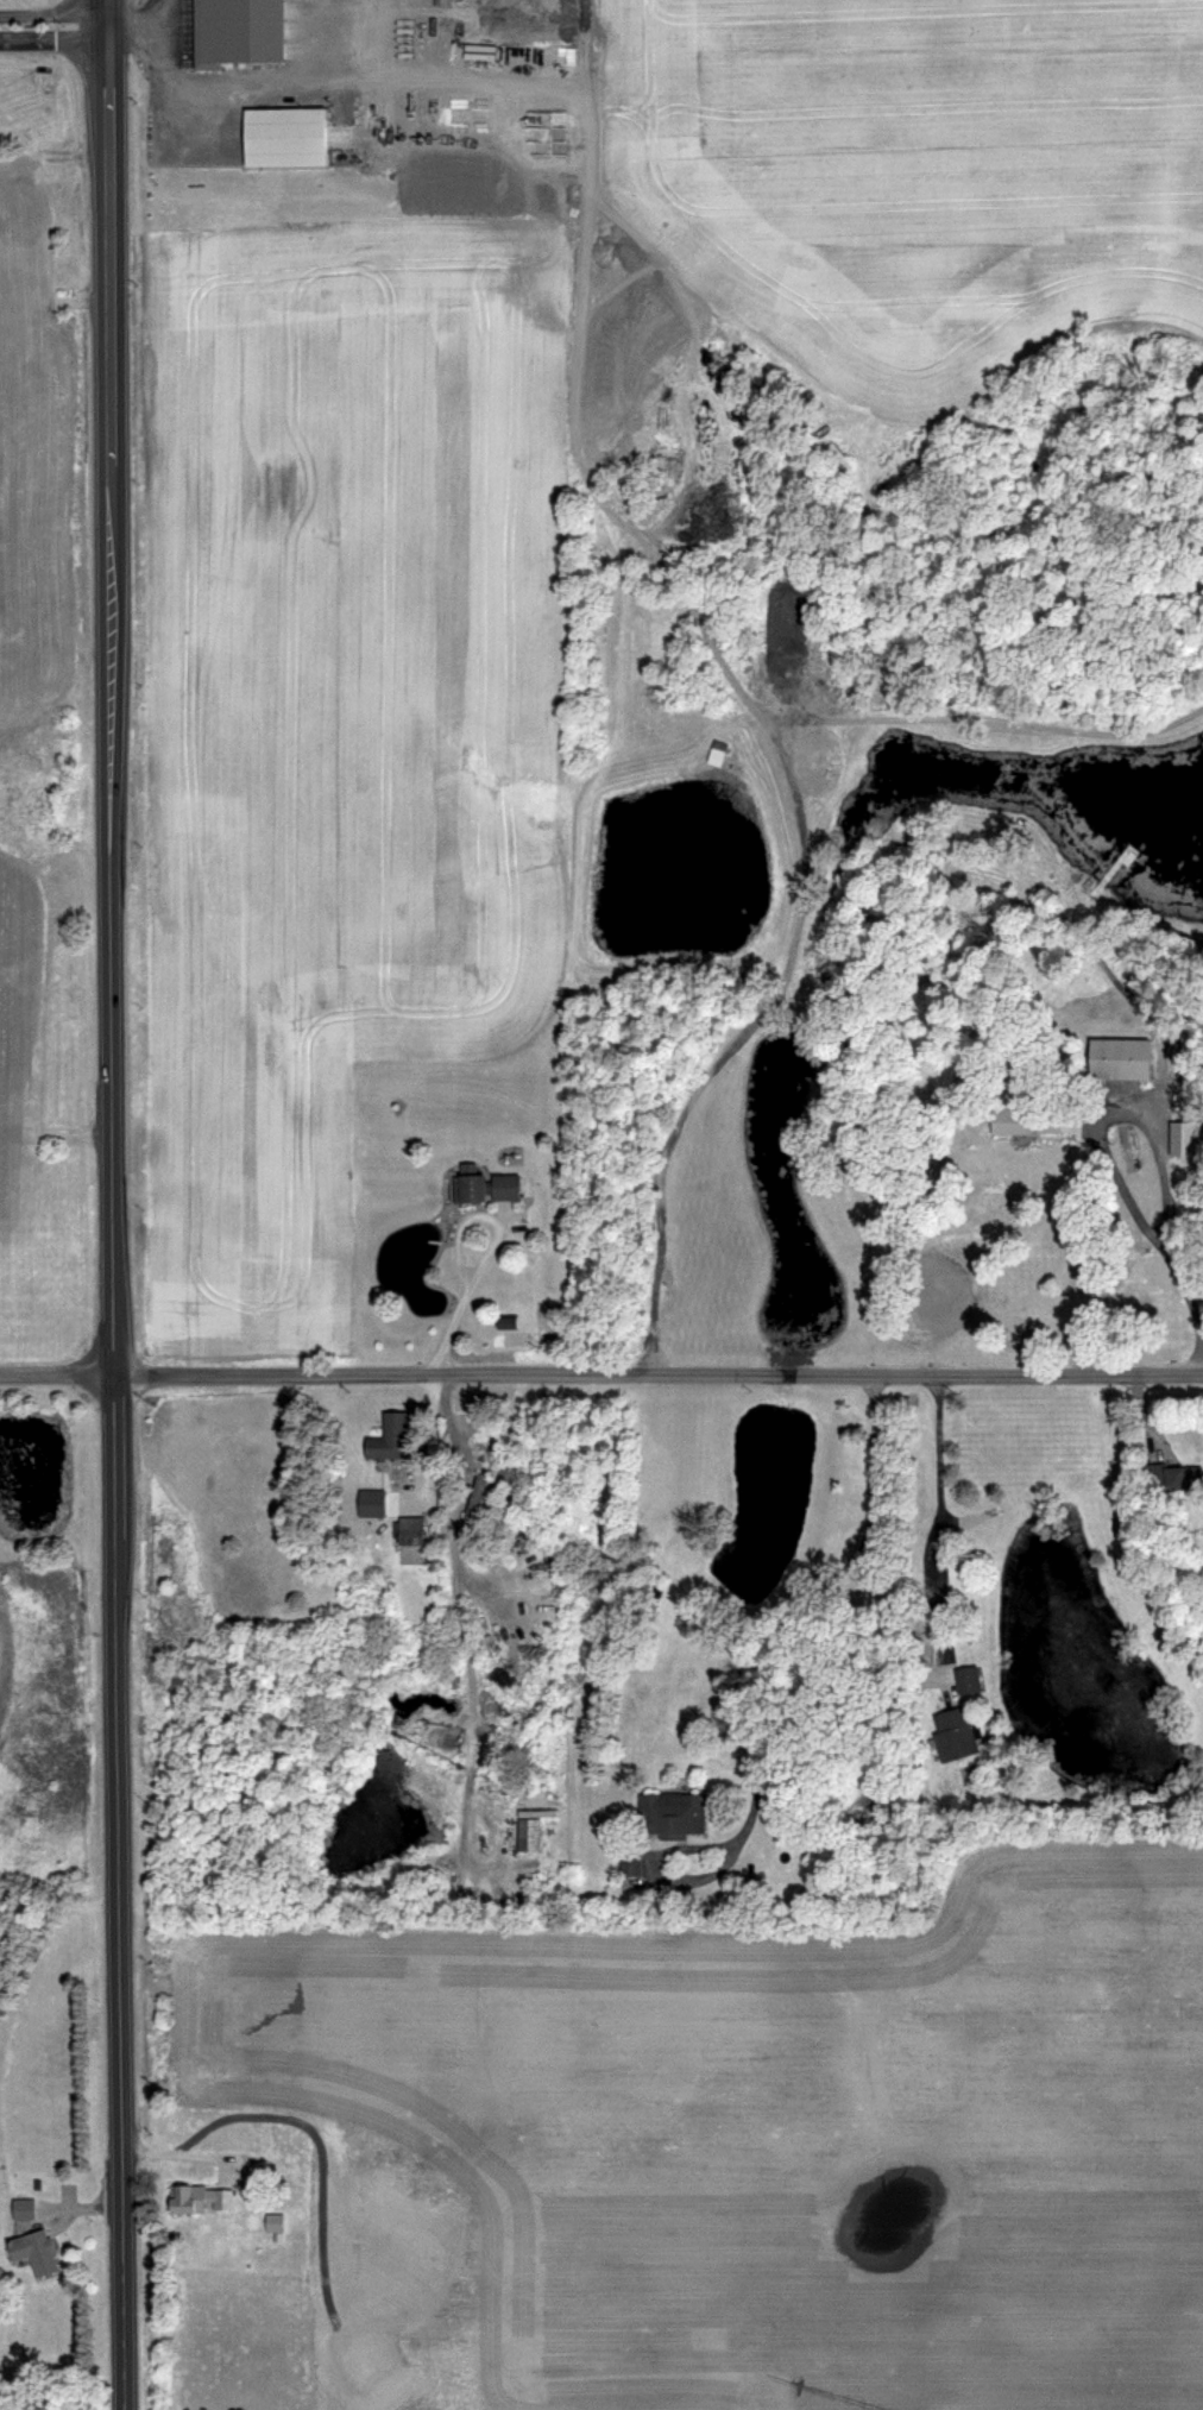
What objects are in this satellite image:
road: (51, 11)
building: (237, 32)
road: (50, 37)
building: (283, 137)
crop: (905, 172)
building: (915, 459)
road: (630, 531)
crop: (334, 725)
building: (712, 753)
building: (1120, 1061)
building: (1022, 1113)
building: (1182, 1140)
building: (485, 1187)
road: (109, 1204)
road: (1177, 1260)
road: (451, 1303)
road: (601, 1374)
building: (389, 1437)
building: (1177, 1477)
building: (473, 1502)
road: (939, 1510)
building: (405, 1528)
road: (793, 1606)
road: (460, 1615)
building: (924, 1638)
building: (969, 1678)
building: (956, 1733)
building: (673, 1813)
building: (527, 1835)
building: (631, 1858)
crop: (747, 2145)
building: (200, 2200)
building: (23, 2208)
building: (275, 2222)
building: (33, 2252)

